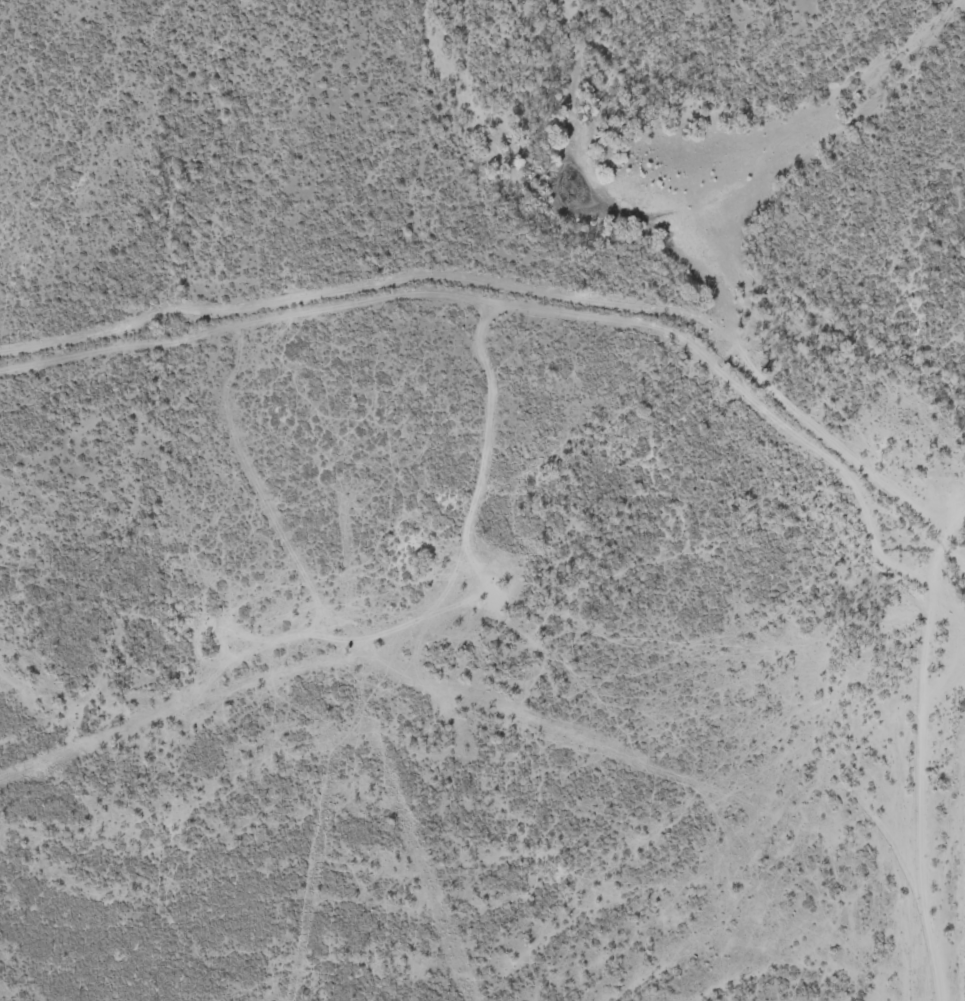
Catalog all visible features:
road: (928, 763)

